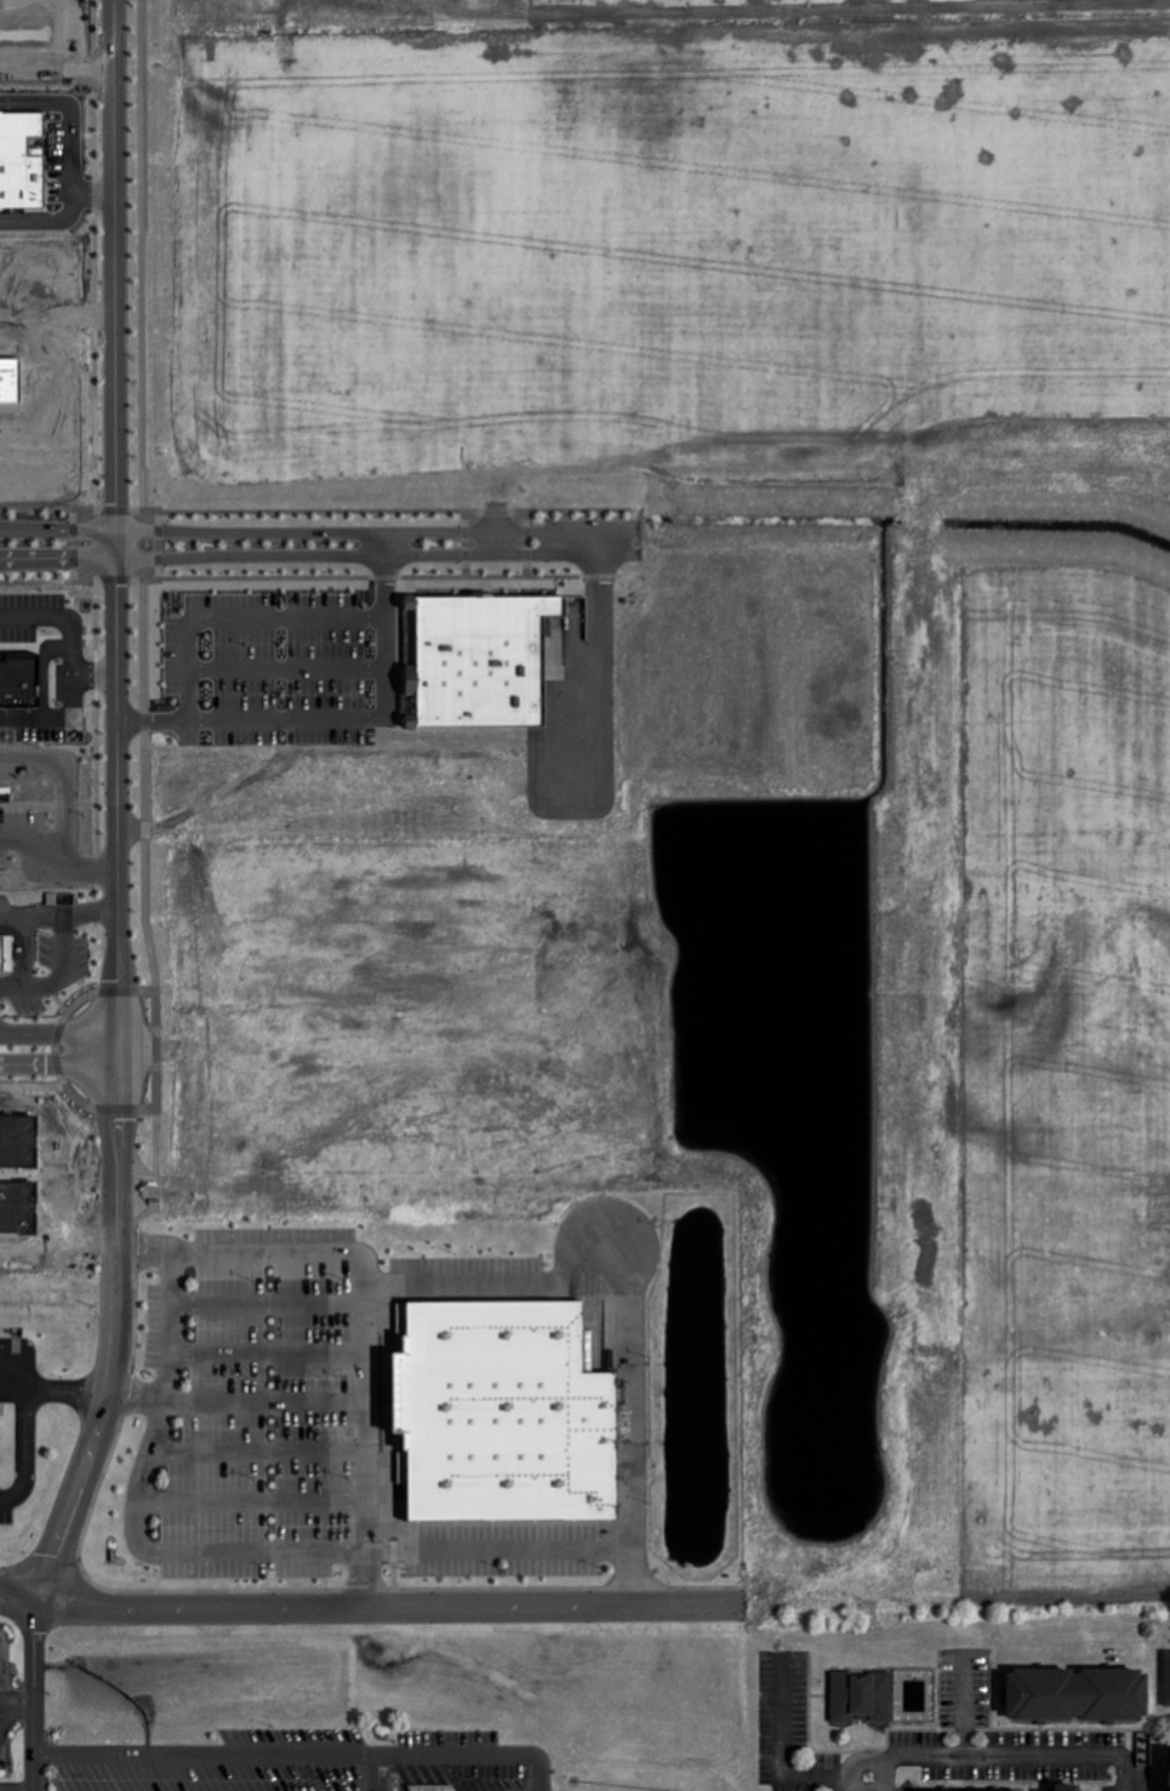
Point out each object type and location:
road: (70, 115)
road: (96, 194)
road: (50, 219)
road: (96, 253)
road: (116, 272)
road: (59, 529)
road: (356, 530)
road: (599, 542)
road: (356, 558)
road: (59, 561)
road: (386, 574)
road: (240, 617)
road: (116, 658)
building: (476, 661)
road: (74, 665)
parking lot: (286, 668)
road: (287, 671)
road: (44, 672)
road: (95, 673)
road: (600, 679)
building: (18, 681)
road: (153, 718)
road: (337, 718)
road: (58, 854)
road: (89, 909)
road: (64, 941)
building: (6, 954)
road: (57, 1029)
road: (56, 1061)
road: (110, 1190)
road: (361, 1304)
road: (92, 1391)
building: (506, 1418)
road: (21, 1419)
road: (259, 1551)
road: (369, 1605)
building: (1164, 1677)
road: (30, 1692)
building: (1071, 1694)
building: (863, 1696)
road: (5, 1699)
road: (21, 1700)
road: (965, 1700)
road: (5, 1709)
road: (784, 1746)
road: (298, 1753)
road: (869, 1753)
road: (1000, 1753)
road: (1128, 1770)
road: (373, 1773)
building: (1166, 1773)
road: (843, 1784)
road: (889, 1786)
building: (1061, 1787)
road: (15, 1789)

